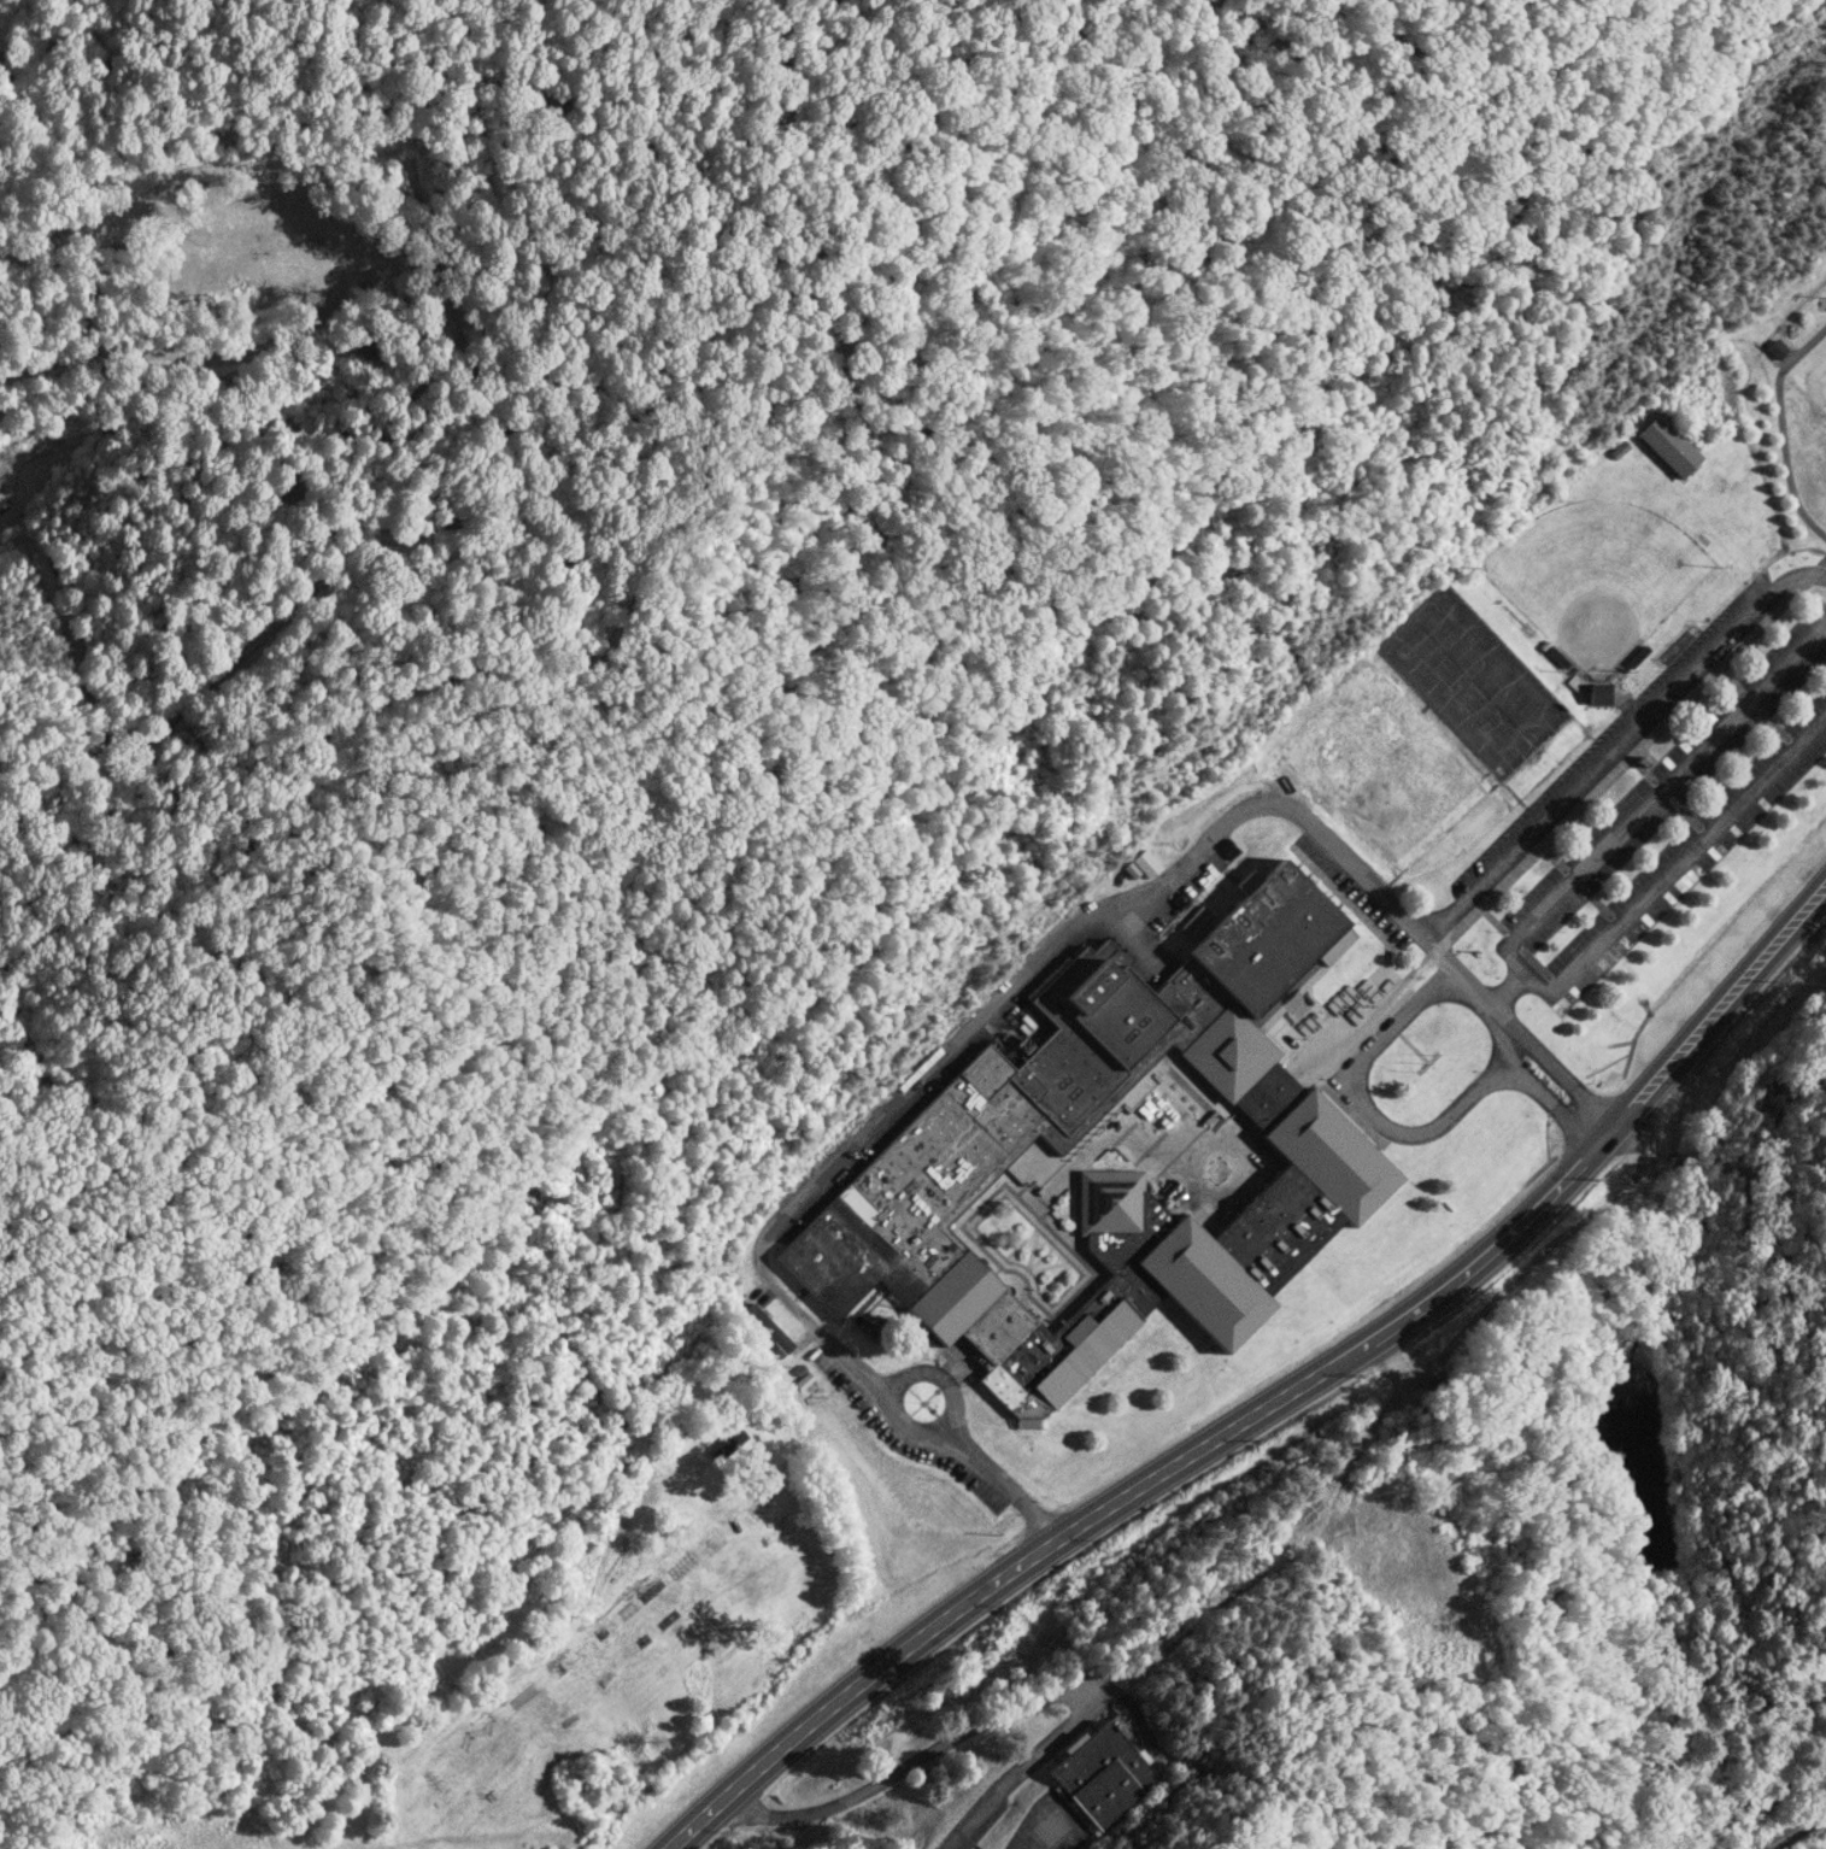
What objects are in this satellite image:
building: (1775, 350)
park: (1812, 375)
building: (1668, 447)
building: (1619, 450)
road: (1798, 577)
park: (1597, 579)
building: (1556, 658)
building: (1637, 658)
park: (1473, 681)
building: (1598, 695)
park: (1372, 712)
parking lot: (1611, 742)
park: (663, 746)
park: (1325, 758)
road: (1601, 764)
park: (1433, 777)
road: (1663, 787)
park: (1386, 823)
parking lot: (1673, 823)
road: (1686, 856)
building: (1145, 862)
road: (1092, 912)
road: (1525, 974)
road: (1509, 992)
road: (1710, 1003)
road: (1718, 1025)
road: (1549, 1105)
road: (1375, 1116)
building: (953, 1145)
building: (1014, 1163)
building: (768, 1328)
building: (755, 1352)
building: (774, 1358)
building: (802, 1384)
road: (892, 1399)
building: (726, 1448)
road: (999, 1481)
road: (1135, 1489)
road: (1003, 1712)
building: (1103, 1768)
road: (1796, 1829)
road: (1050, 1832)

